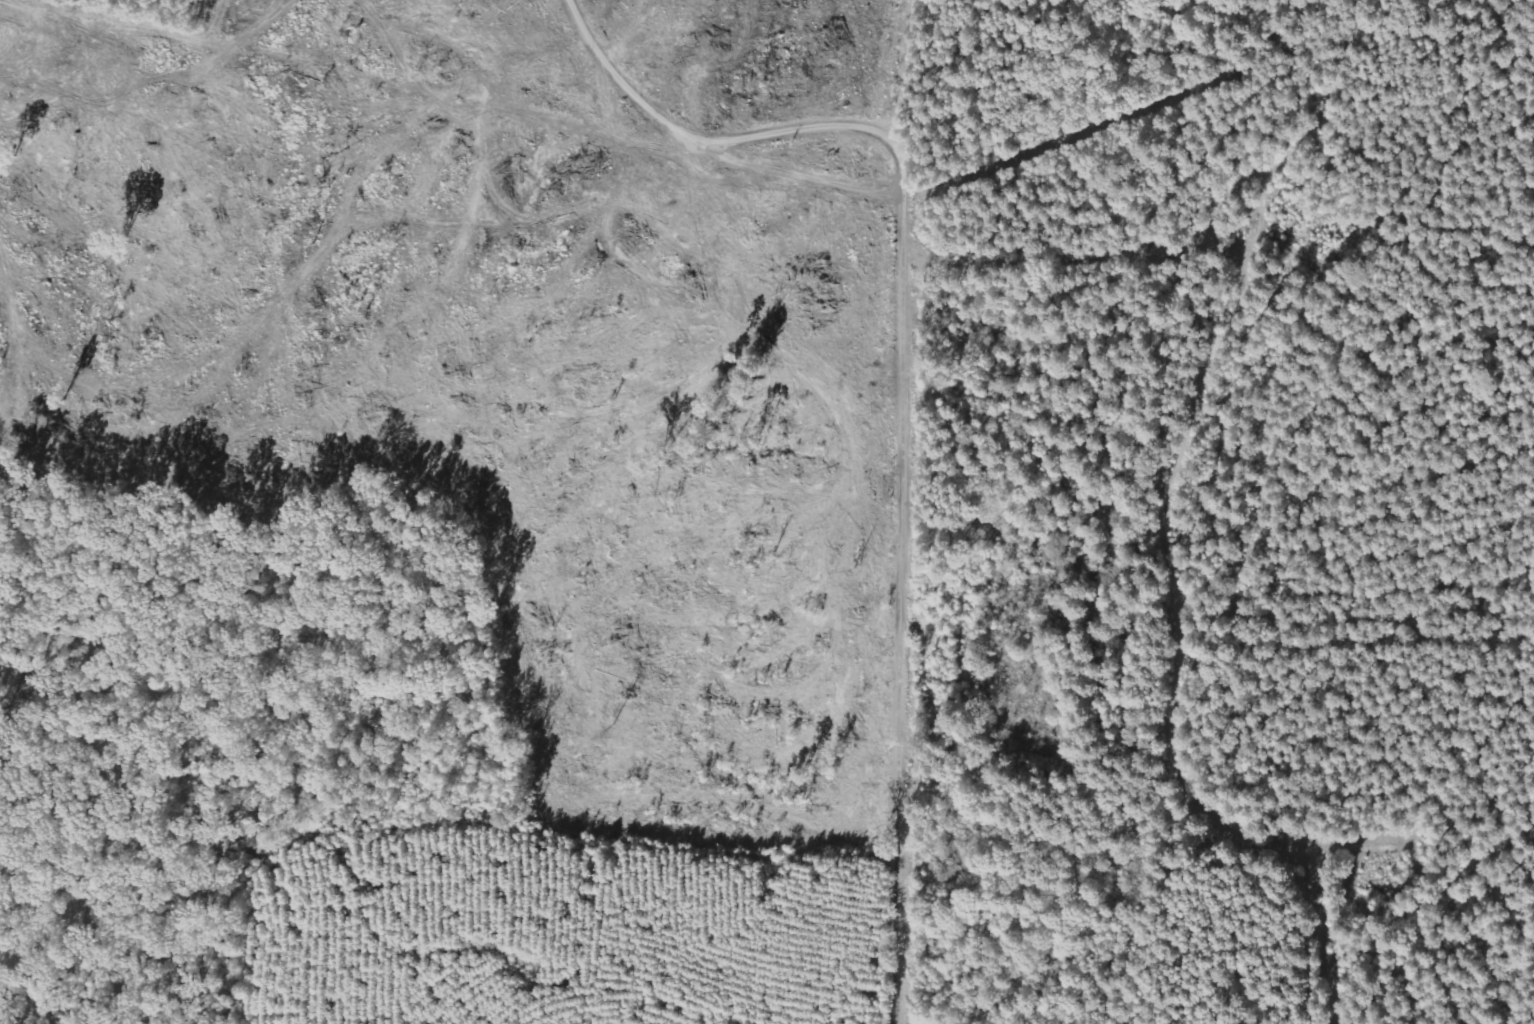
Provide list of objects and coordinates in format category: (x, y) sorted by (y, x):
road: (907, 383)
road: (1202, 480)

